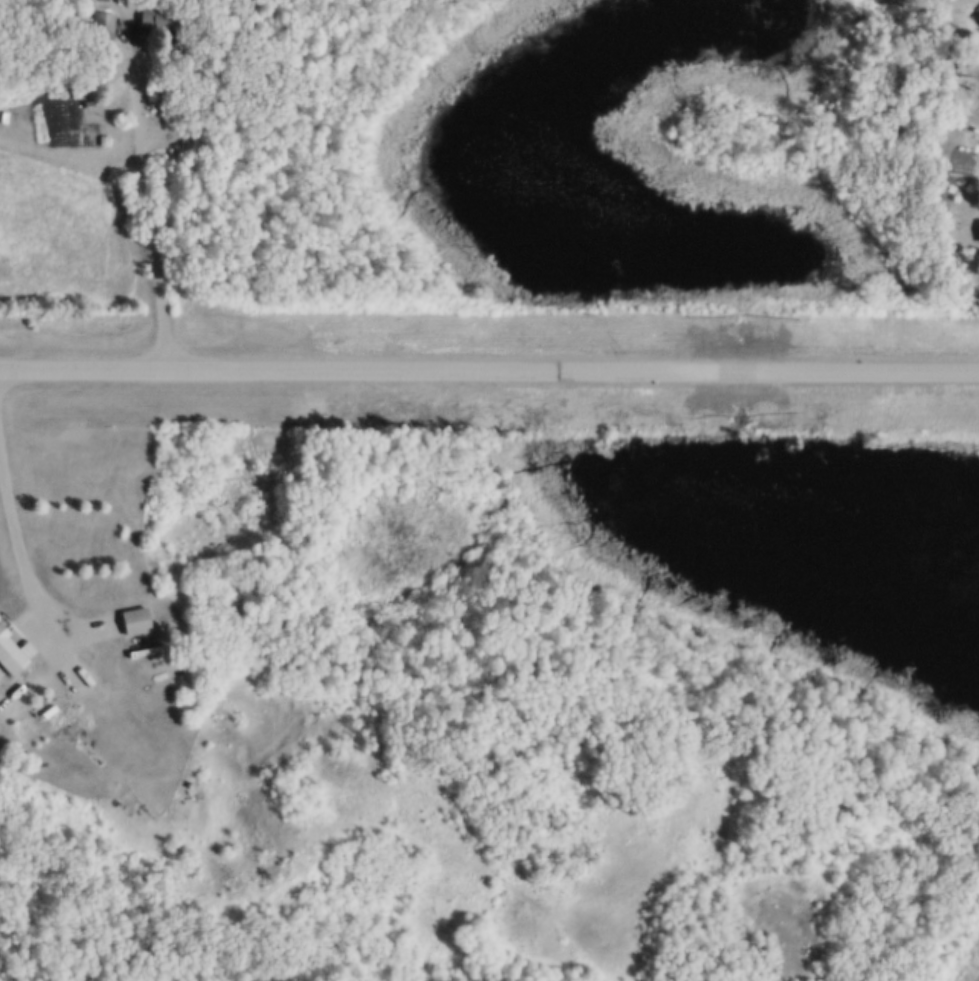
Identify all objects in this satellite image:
building: (103, 0)
building: (977, 13)
building: (155, 16)
building: (977, 17)
building: (101, 23)
road: (135, 29)
building: (89, 101)
building: (970, 104)
road: (150, 210)
building: (978, 228)
road: (489, 369)
road: (18, 544)
building: (132, 617)
building: (144, 648)
building: (10, 652)
building: (27, 682)
building: (125, 700)
building: (46, 709)
building: (112, 709)
building: (142, 734)
road: (243, 778)
road: (301, 840)

